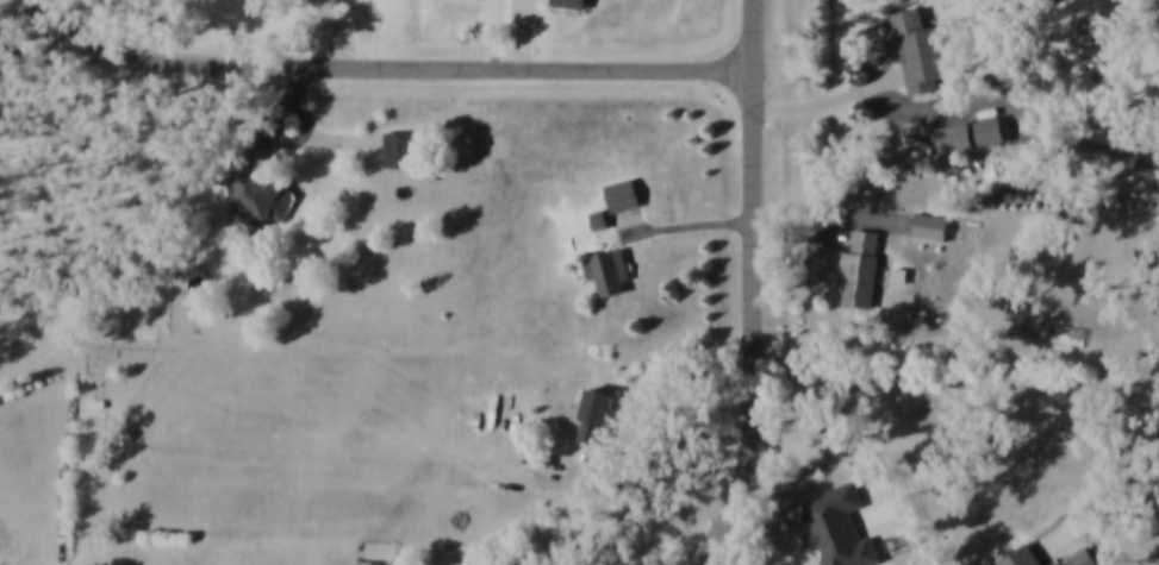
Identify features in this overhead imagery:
building: (569, 5)
road: (332, 34)
road: (523, 34)
building: (921, 52)
road: (385, 69)
road: (833, 100)
road: (307, 118)
road: (280, 120)
building: (992, 134)
building: (957, 139)
road: (328, 142)
building: (400, 152)
building: (261, 194)
building: (624, 199)
road: (873, 221)
building: (600, 222)
road: (683, 227)
building: (933, 228)
road: (808, 230)
building: (862, 270)
building: (613, 272)
road: (758, 287)
building: (598, 421)
road: (75, 488)
road: (638, 492)
building: (840, 528)
building: (1026, 559)
building: (1084, 559)
building: (364, 564)

